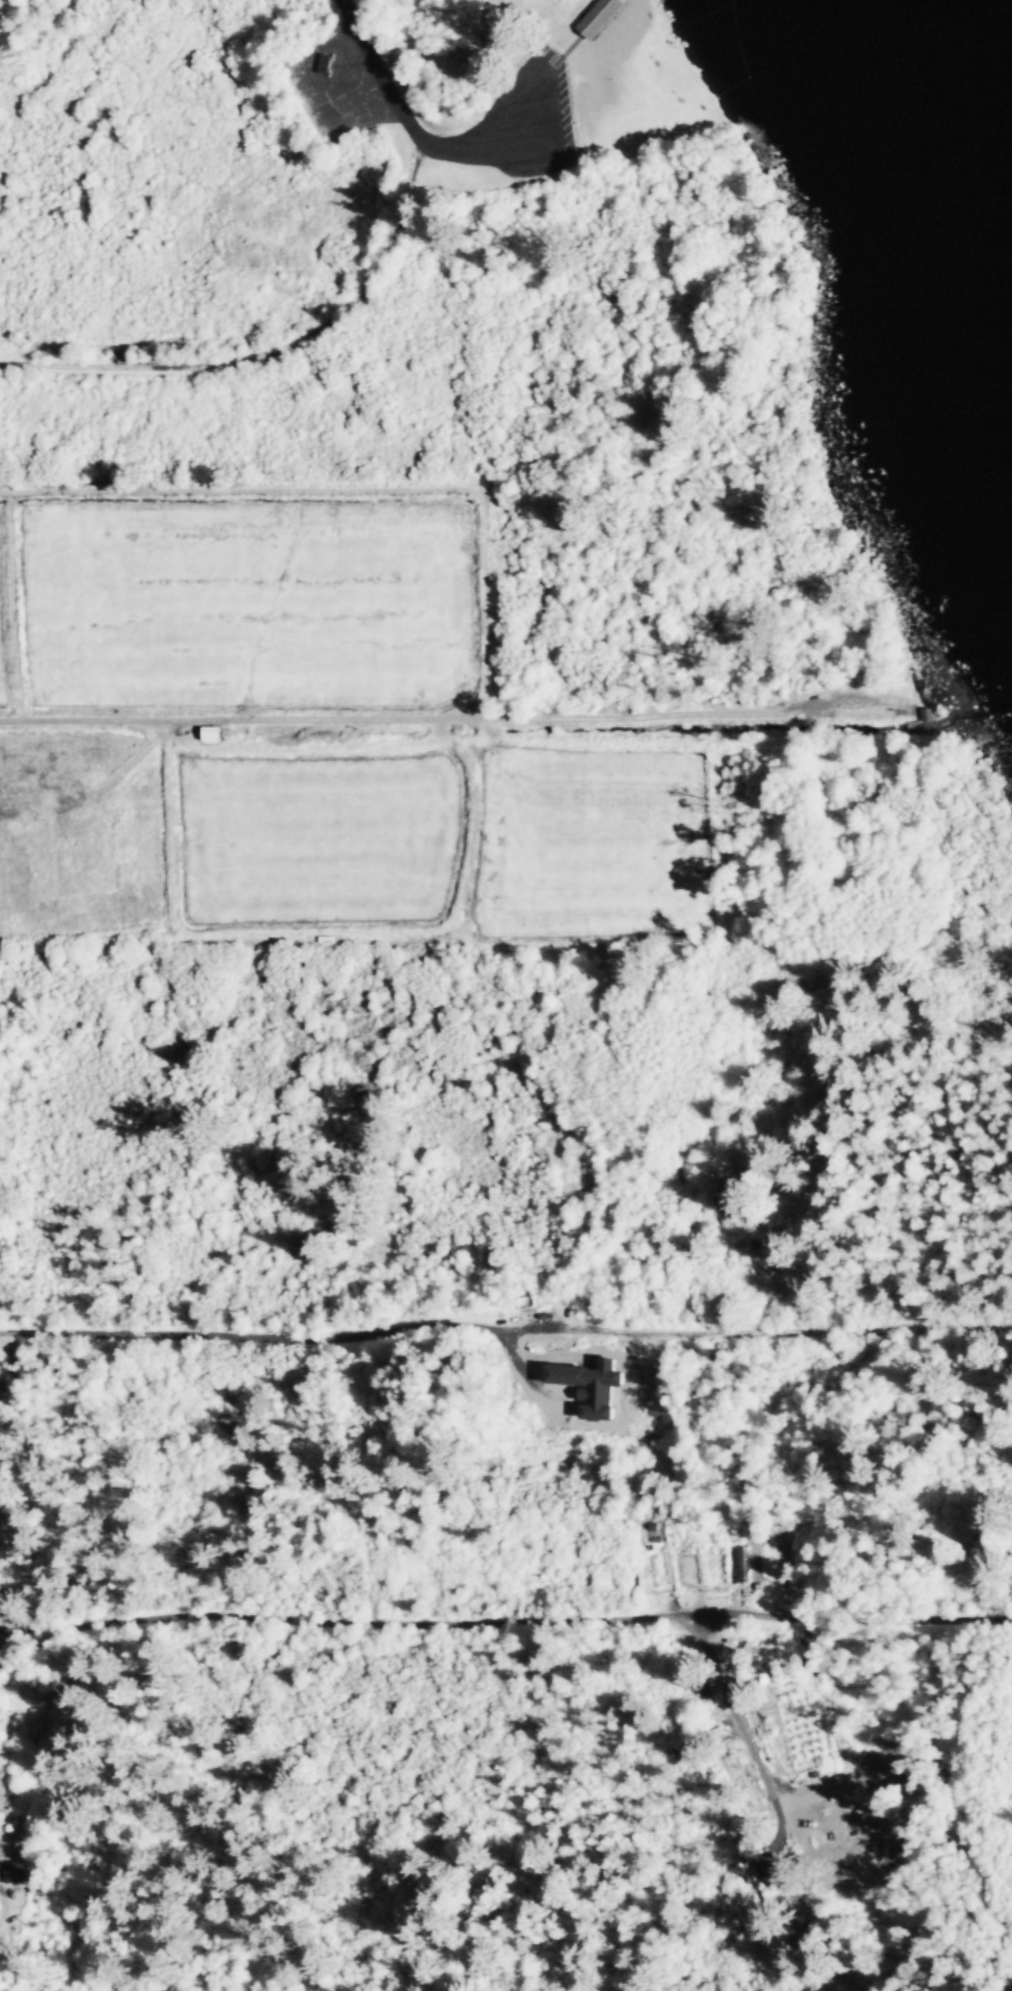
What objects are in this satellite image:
building: (600, 17)
building: (326, 64)
road: (447, 148)
road: (273, 356)
road: (505, 1330)
building: (741, 1565)
road: (505, 1623)
building: (14, 1873)

